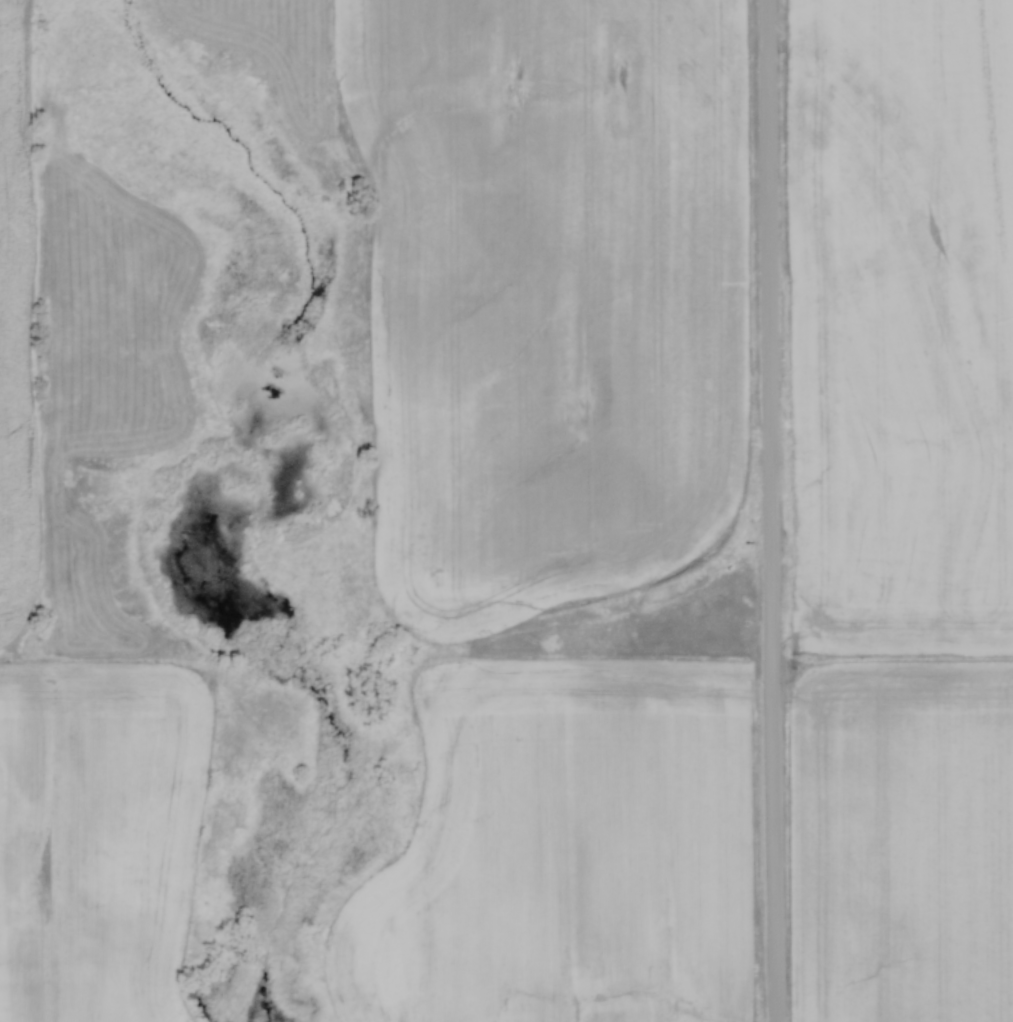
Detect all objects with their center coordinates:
road: (767, 511)

